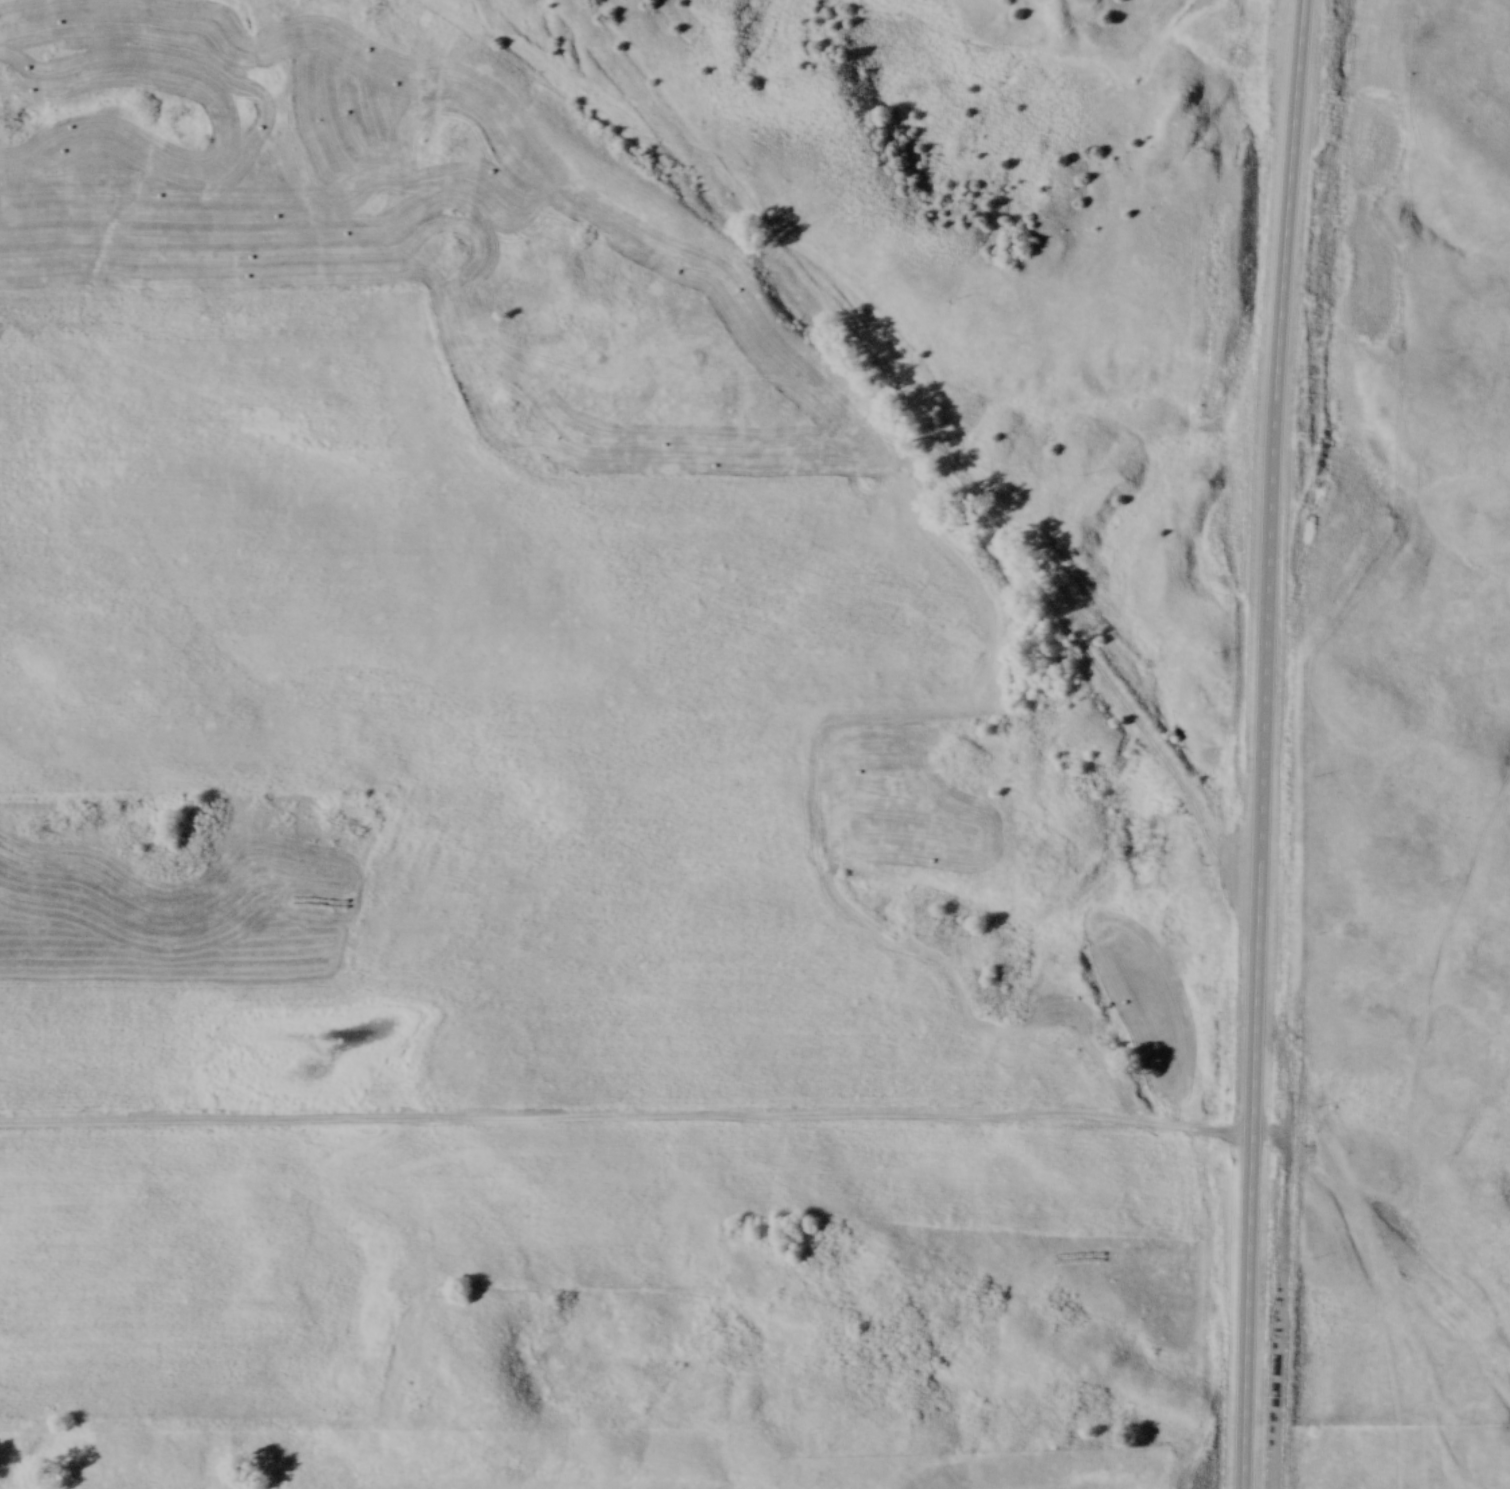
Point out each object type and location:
road: (1268, 744)

